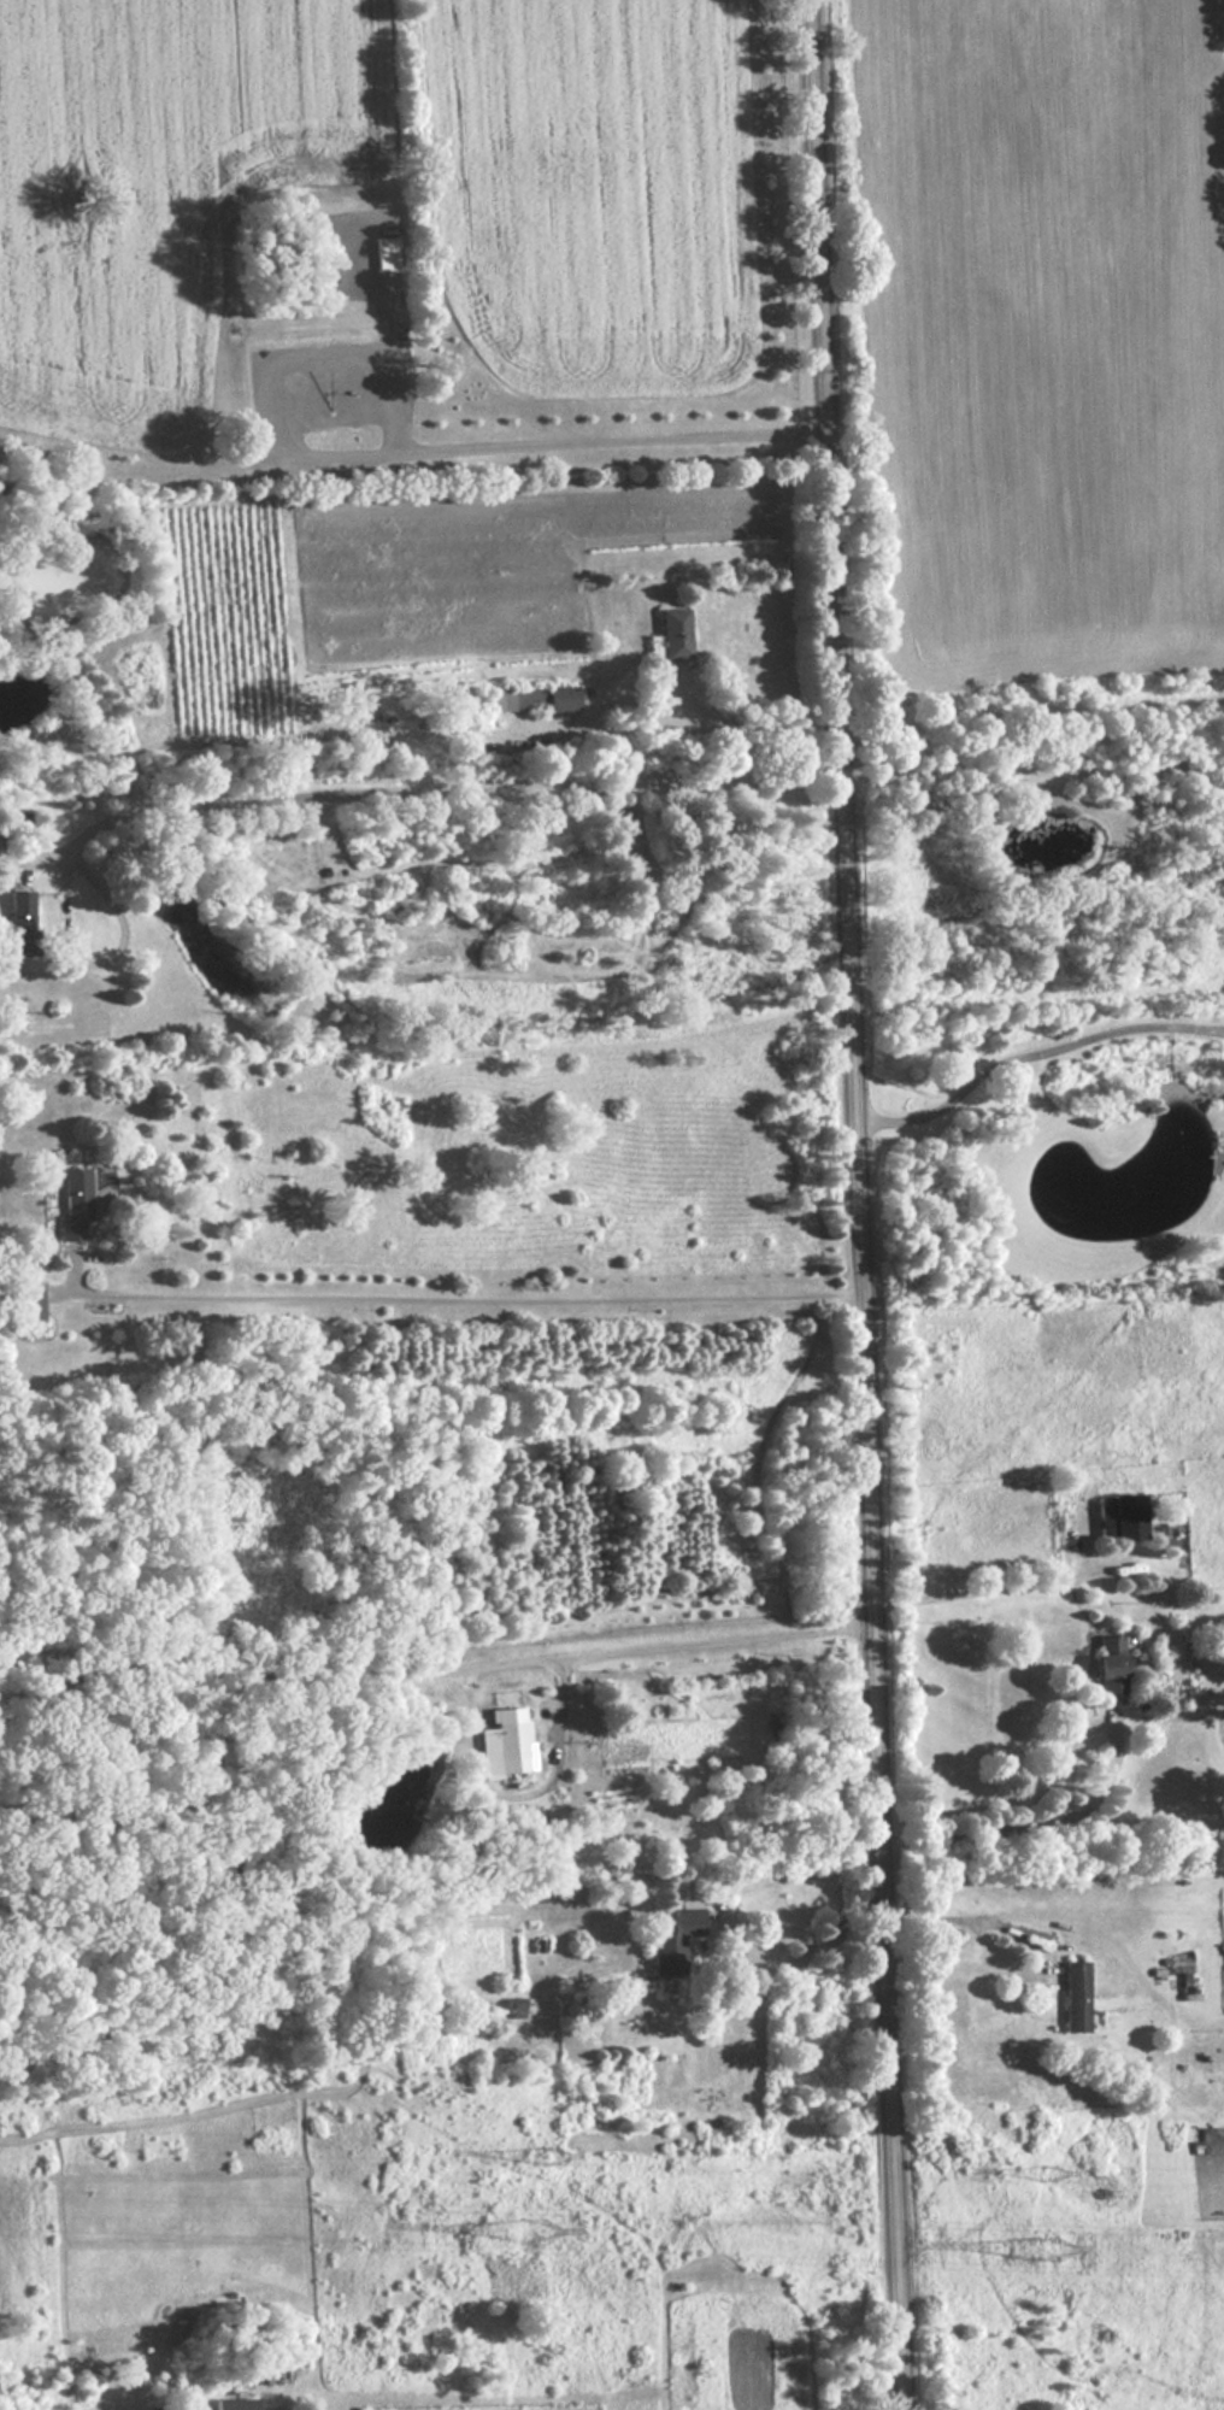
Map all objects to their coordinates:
road: (834, 471)
building: (676, 631)
building: (535, 696)
road: (519, 725)
road: (1034, 768)
road: (314, 793)
building: (23, 922)
road: (1032, 1047)
building: (75, 1203)
road: (463, 1297)
building: (30, 1305)
building: (1122, 1516)
road: (989, 1582)
building: (1105, 1662)
road: (435, 1670)
road: (882, 1676)
building: (507, 1740)
road: (1096, 1804)
road: (975, 1926)
road: (825, 1928)
building: (672, 1934)
building: (1072, 1994)
power tower: (548, 2153)
power tower: (1052, 2171)
power tower: (537, 2227)
power tower: (1047, 2246)
building: (236, 2403)

